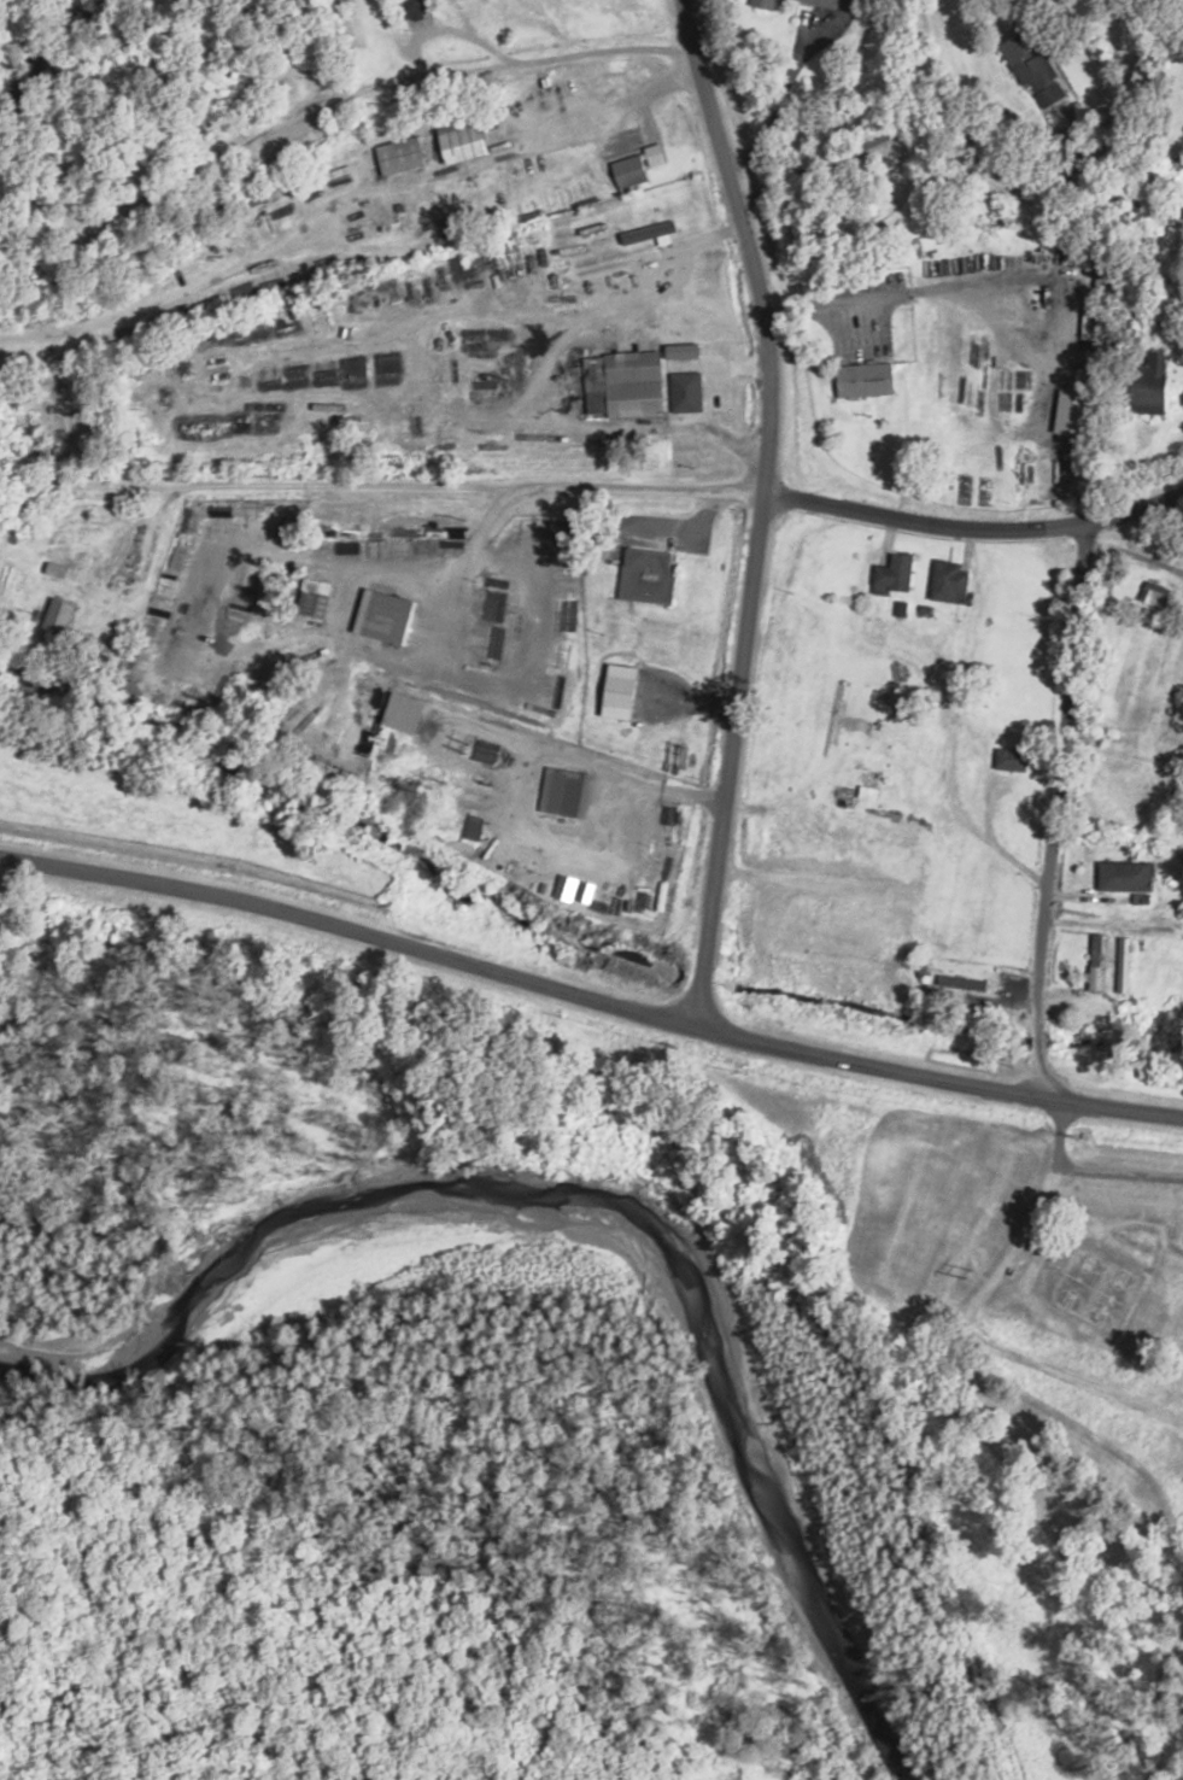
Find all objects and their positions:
building: (822, 2)
building: (768, 4)
building: (339, 6)
building: (412, 8)
building: (1031, 63)
building: (464, 135)
building: (399, 156)
building: (632, 172)
building: (271, 281)
building: (1097, 305)
building: (1155, 379)
building: (866, 380)
building: (628, 382)
building: (1074, 416)
road: (417, 484)
road: (762, 508)
road: (974, 528)
building: (896, 574)
building: (646, 576)
building: (950, 581)
building: (1158, 593)
building: (391, 617)
building: (62, 621)
building: (486, 640)
building: (1013, 760)
building: (569, 792)
road: (1054, 809)
building: (1128, 877)
building: (567, 888)
building: (902, 895)
building: (1096, 964)
building: (1124, 966)
building: (921, 970)
road: (588, 994)
river: (352, 1265)
park: (1068, 1280)
park: (1102, 1298)
park: (1033, 1417)
river: (830, 1536)

